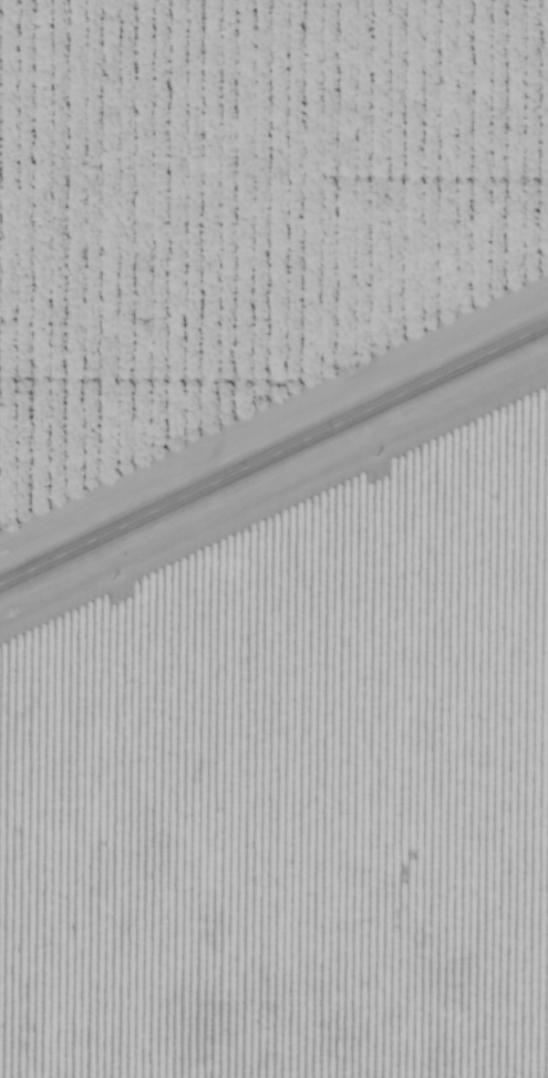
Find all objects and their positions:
crop: (263, 174)
crop: (113, 417)
road: (273, 458)

